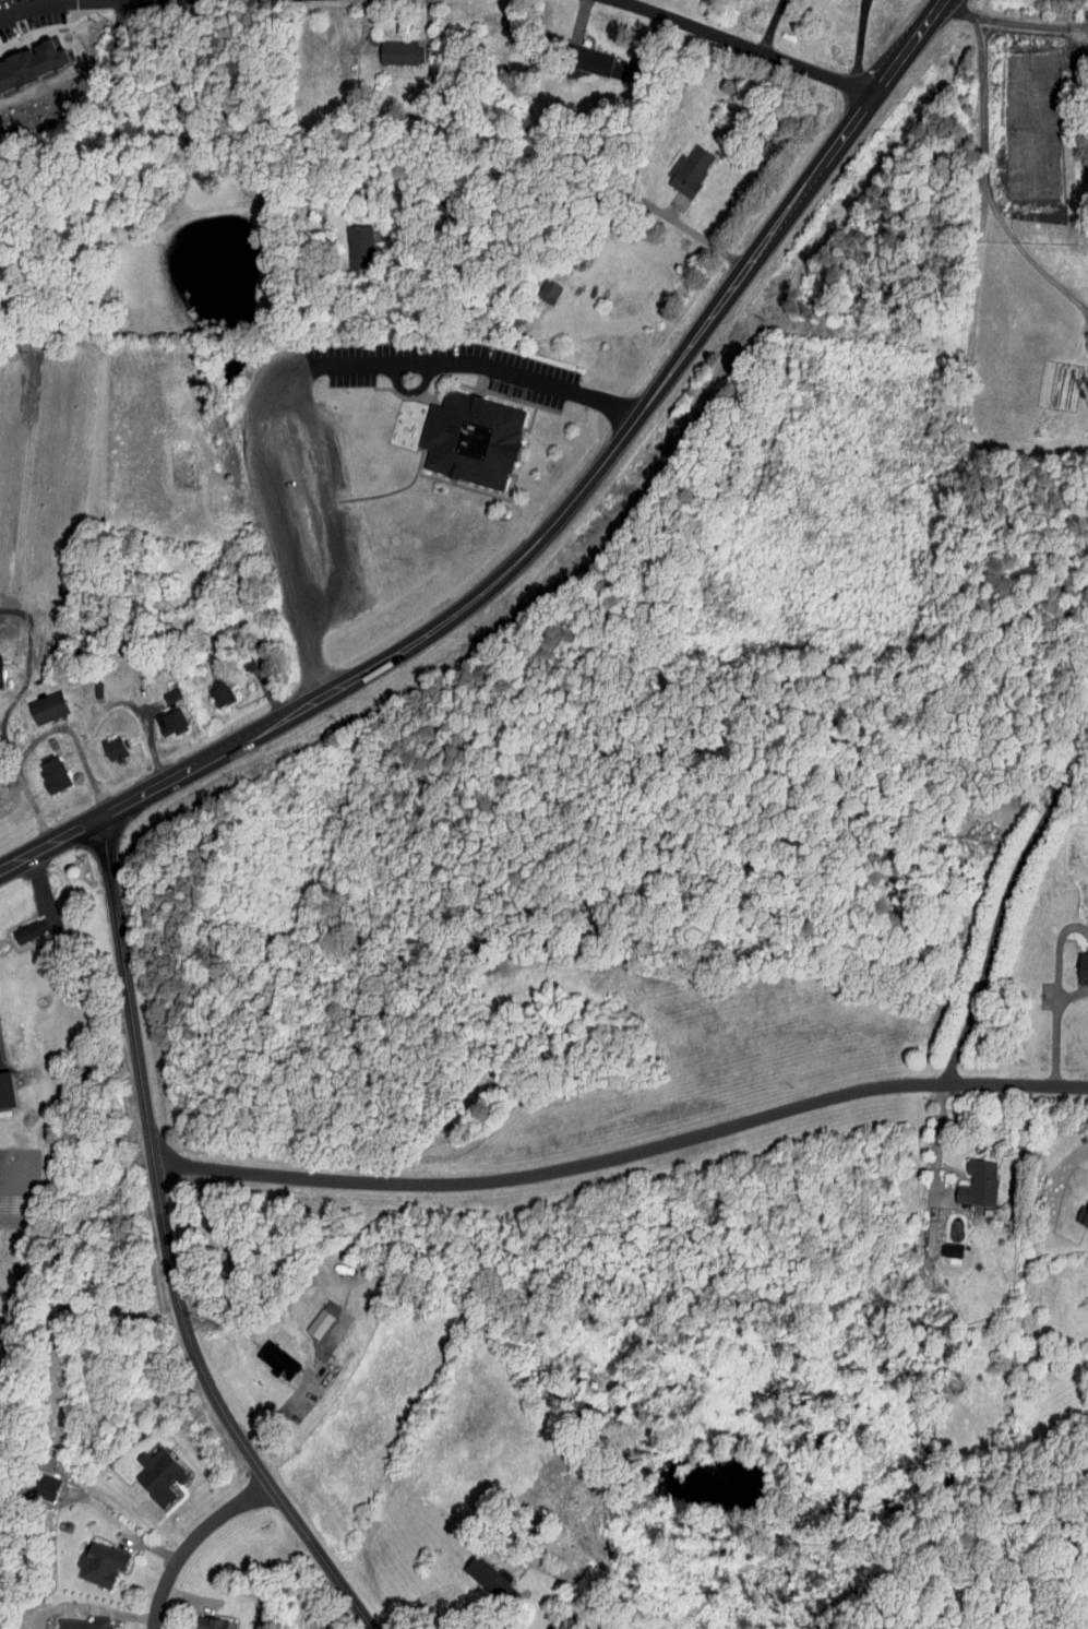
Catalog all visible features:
road: (15, 3)
road: (1011, 16)
road: (773, 25)
road: (859, 41)
building: (392, 45)
road: (754, 46)
building: (29, 56)
building: (594, 56)
building: (673, 164)
road: (121, 176)
road: (995, 176)
building: (354, 231)
road: (298, 370)
building: (465, 431)
road: (553, 525)
road: (22, 681)
building: (212, 687)
building: (163, 689)
building: (39, 700)
building: (164, 716)
road: (73, 735)
building: (112, 748)
road: (152, 748)
building: (51, 773)
road: (32, 801)
road: (45, 883)
road: (1004, 903)
building: (27, 929)
building: (1075, 964)
road: (1054, 1027)
building: (4, 1090)
road: (938, 1145)
road: (623, 1154)
building: (963, 1178)
building: (1077, 1210)
road: (165, 1249)
building: (319, 1323)
building: (276, 1360)
building: (158, 1475)
road: (191, 1542)
building: (98, 1565)
building: (84, 1624)
building: (206, 1624)

